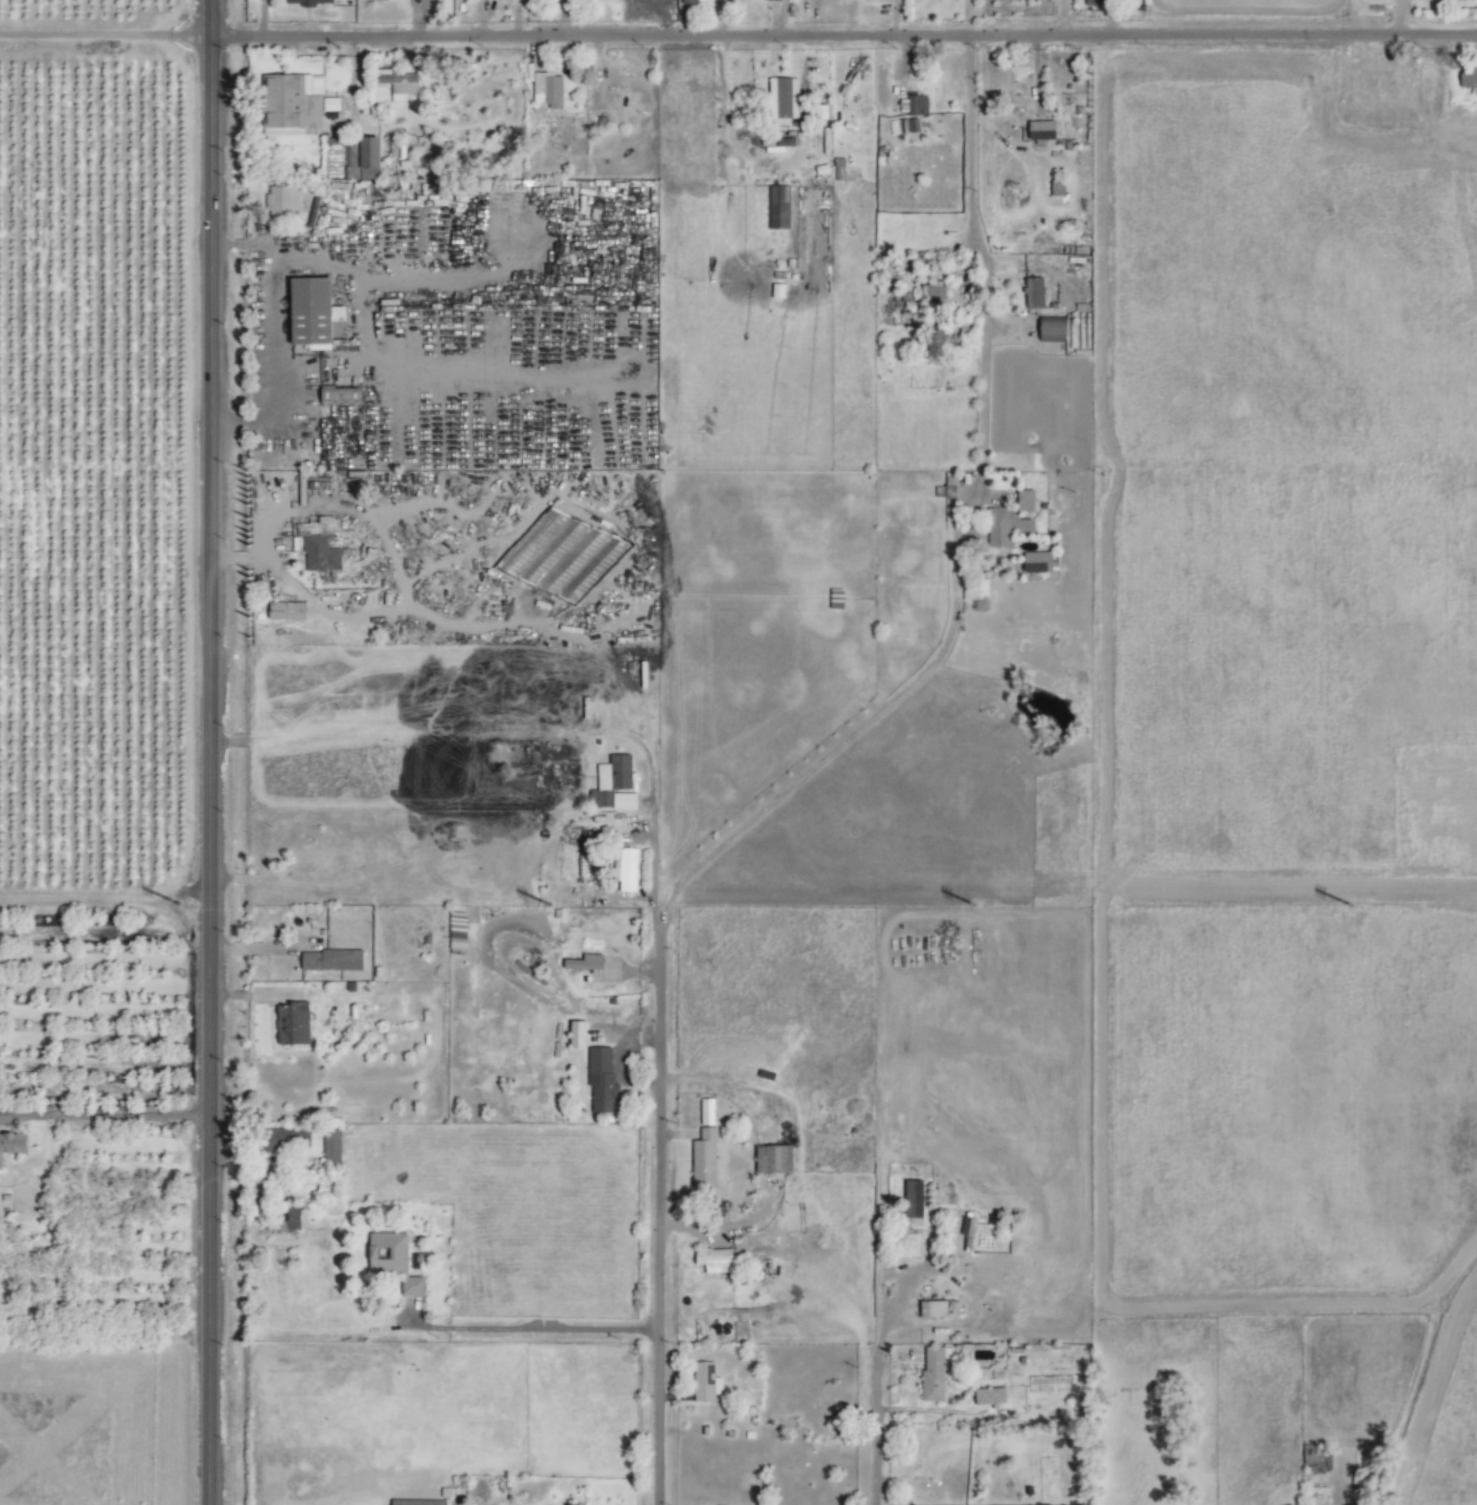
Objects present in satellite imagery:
building: (775, 0)
building: (310, 2)
building: (1091, 2)
road: (1061, 18)
road: (1110, 18)
road: (1393, 18)
road: (104, 36)
road: (843, 37)
building: (1467, 77)
building: (1018, 80)
building: (1373, 81)
building: (401, 84)
building: (549, 90)
building: (781, 97)
building: (297, 100)
building: (915, 105)
road: (727, 112)
building: (907, 126)
building: (1039, 130)
building: (337, 142)
building: (372, 157)
building: (1055, 189)
building: (284, 201)
building: (776, 207)
road: (237, 243)
road: (219, 244)
road: (975, 251)
building: (1077, 252)
building: (1032, 293)
building: (928, 294)
building: (318, 314)
building: (1049, 329)
building: (932, 342)
road: (275, 349)
building: (343, 396)
building: (1023, 501)
road: (970, 503)
building: (1003, 528)
building: (321, 545)
road: (236, 558)
road: (255, 558)
road: (217, 559)
building: (289, 611)
road: (536, 733)
road: (240, 741)
road: (219, 742)
road: (837, 746)
road: (209, 752)
building: (561, 775)
building: (615, 785)
power tower: (188, 905)
power tower: (587, 906)
power tower: (983, 906)
power tower: (1360, 907)
road: (265, 945)
building: (333, 960)
building: (585, 965)
building: (294, 1024)
building: (580, 1035)
building: (604, 1081)
building: (708, 1112)
road: (104, 1115)
building: (14, 1145)
building: (334, 1150)
building: (706, 1160)
building: (776, 1160)
building: (916, 1199)
road: (657, 1214)
road: (754, 1215)
building: (295, 1218)
road: (689, 1222)
building: (717, 1260)
building: (395, 1261)
building: (929, 1309)
road: (892, 1310)
road: (535, 1328)
building: (933, 1372)
building: (707, 1383)
building: (987, 1396)
road: (931, 1409)
road: (875, 1433)
building: (420, 1502)

